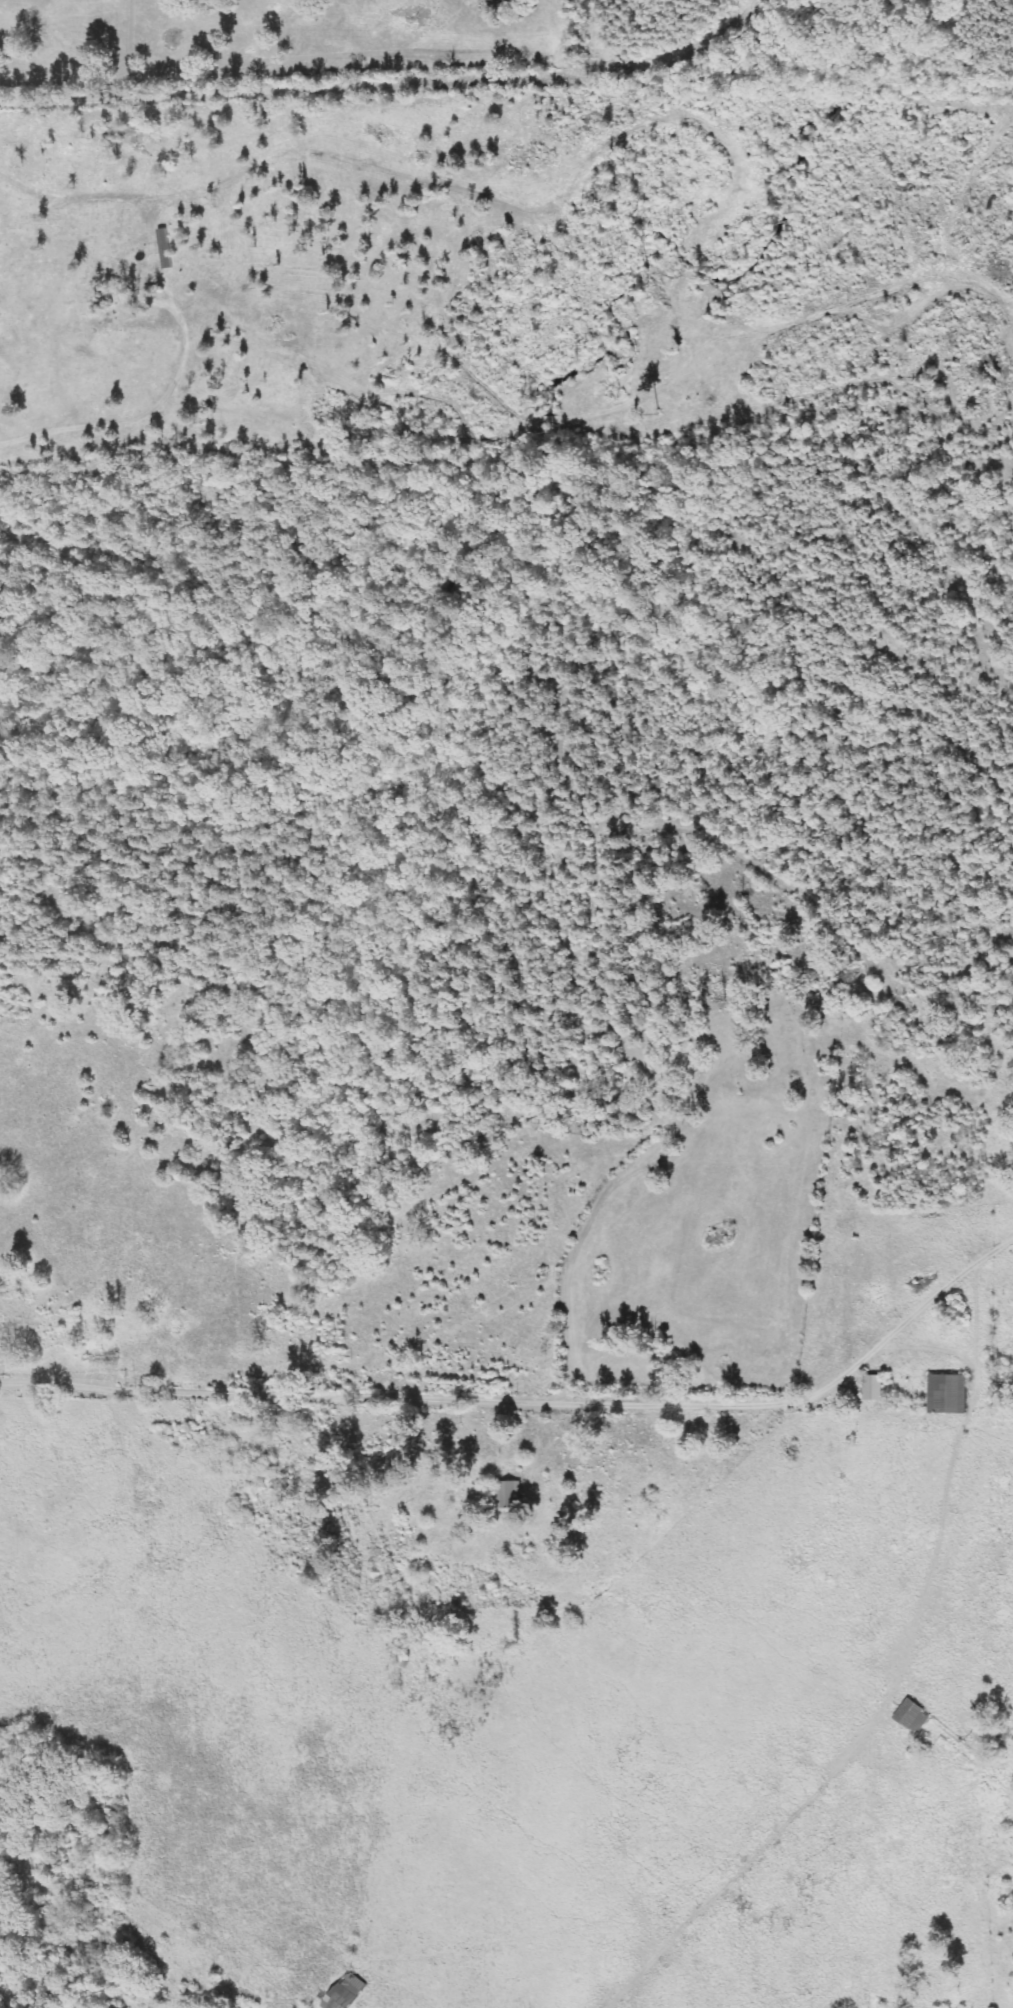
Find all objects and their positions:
park: (726, 979)
building: (873, 1388)
building: (947, 1394)
road: (484, 1400)
building: (913, 1715)
building: (345, 1992)

